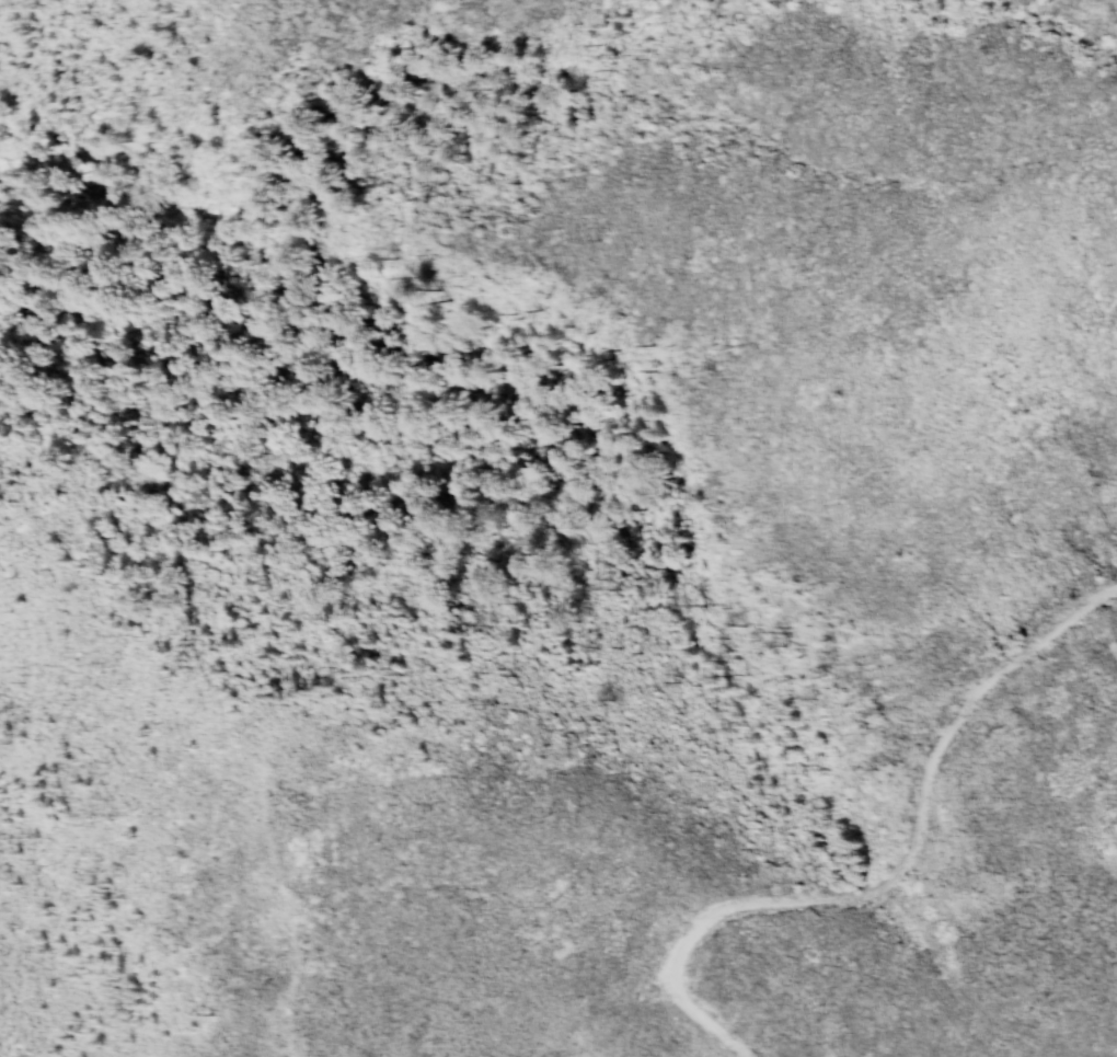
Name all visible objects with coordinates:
road: (894, 869)

